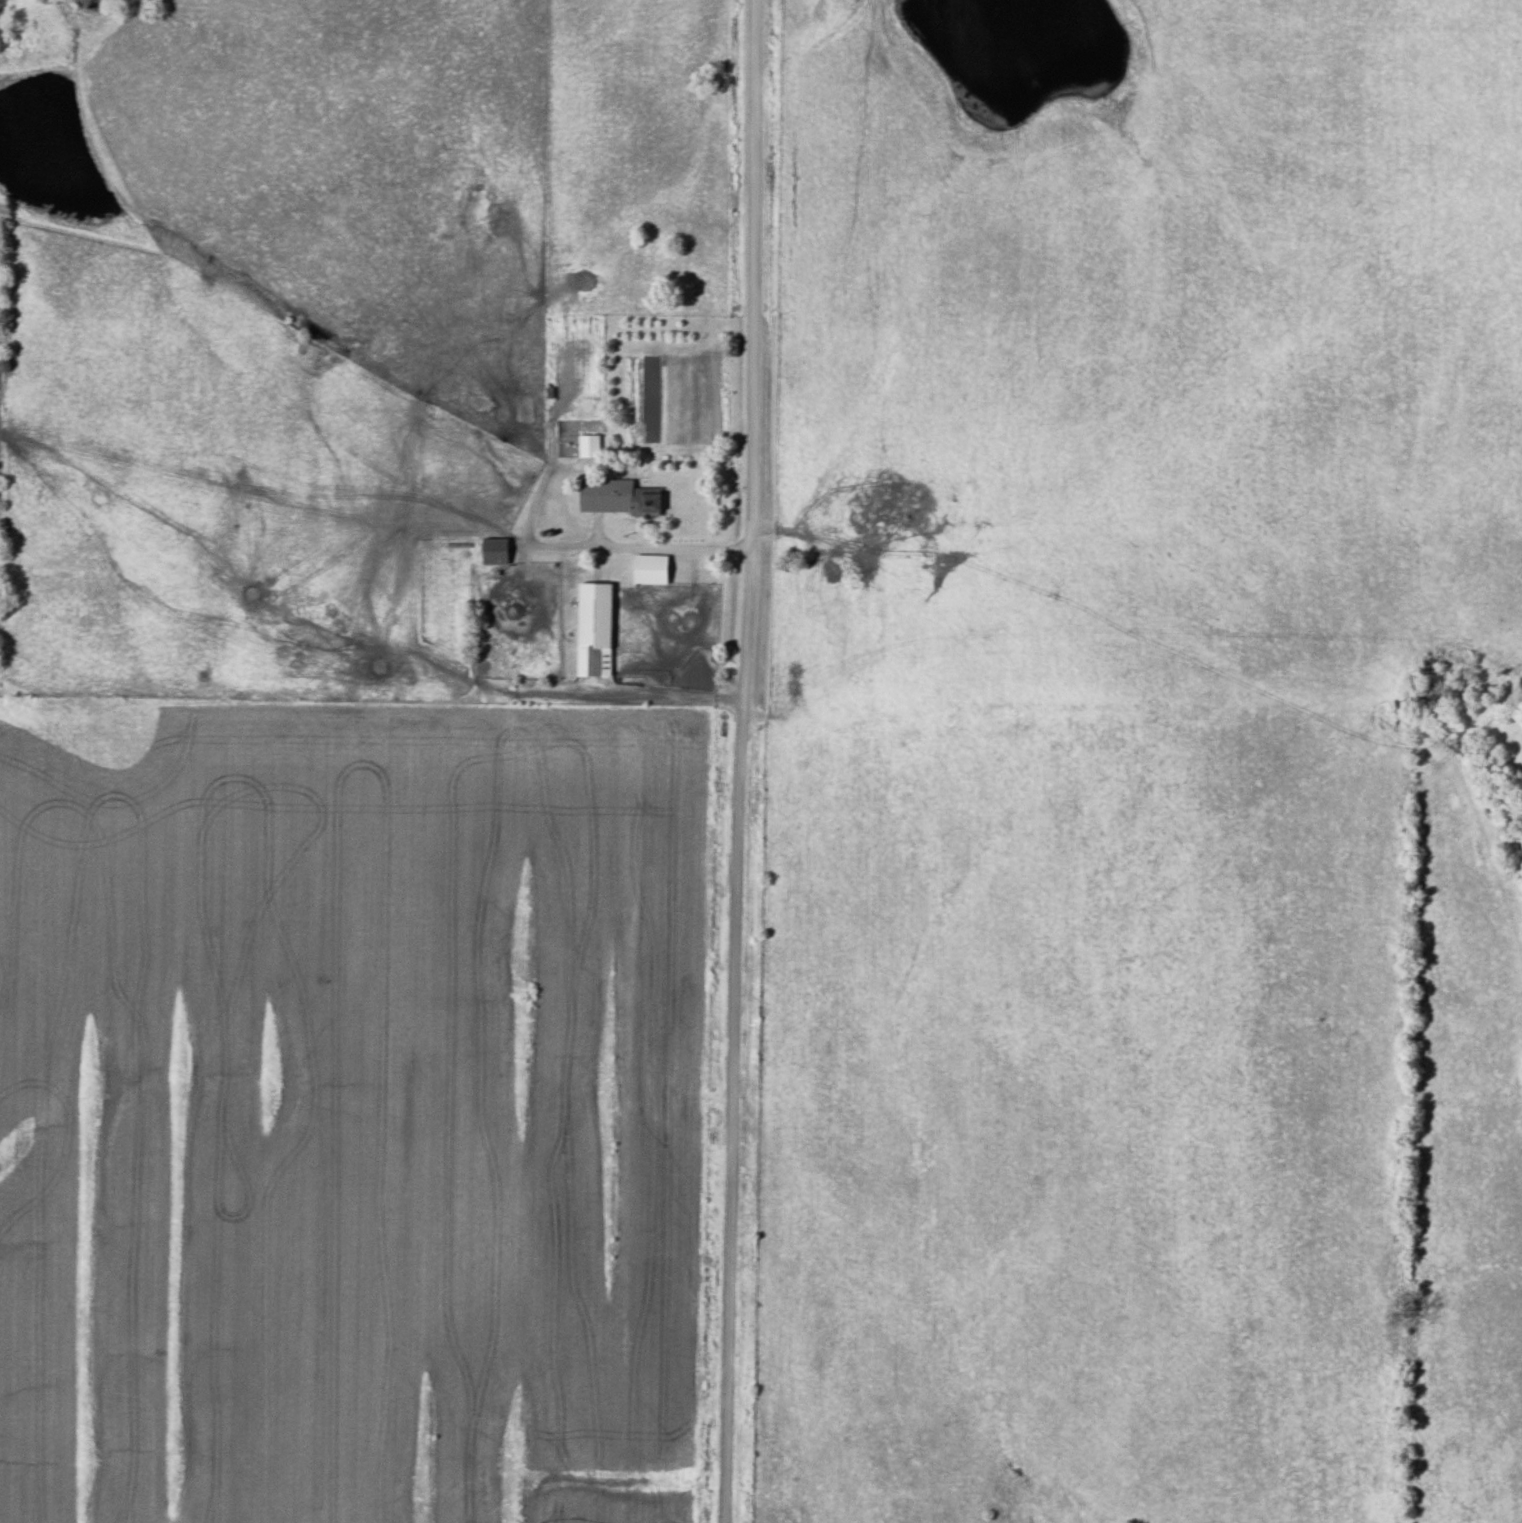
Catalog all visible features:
road: (692, 550)
road: (669, 694)
road: (740, 761)

